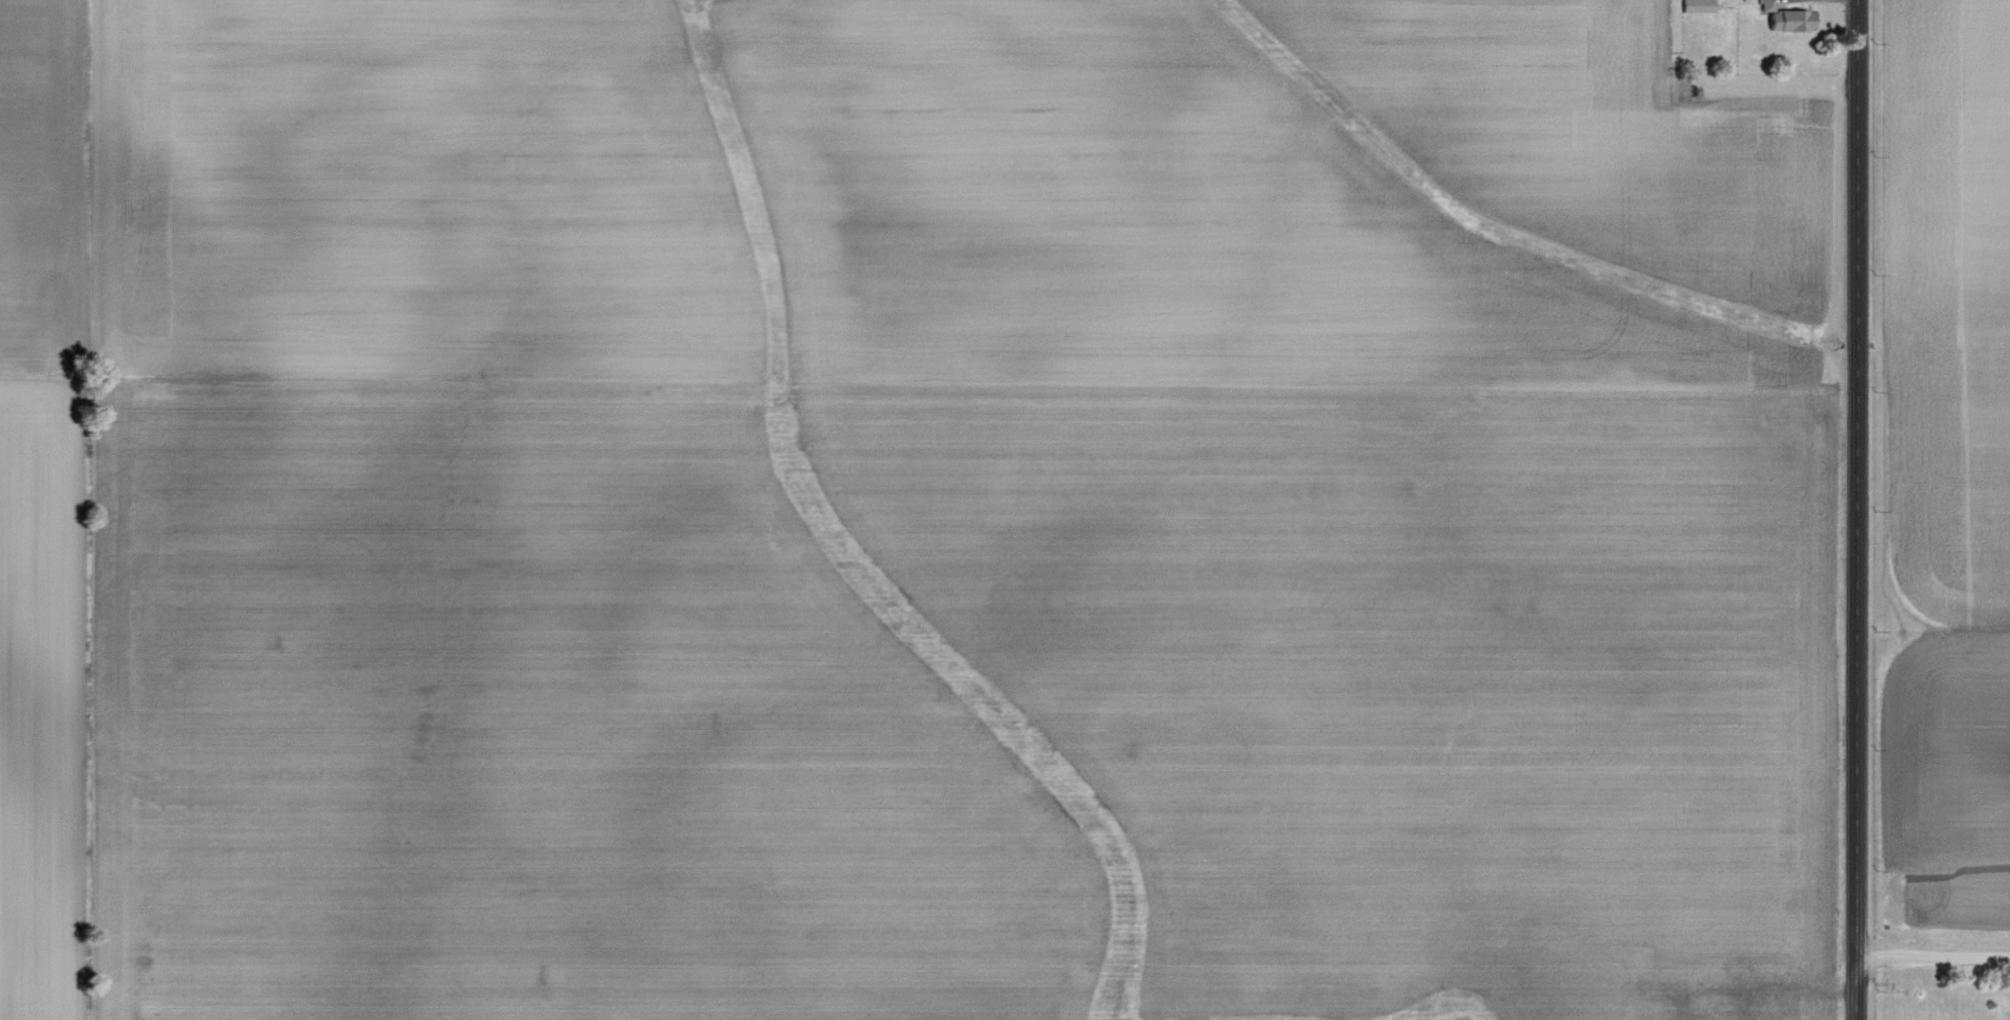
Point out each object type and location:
building: (1697, 6)
building: (1787, 18)
road: (1854, 510)
road: (1932, 956)
road: (2006, 1017)

